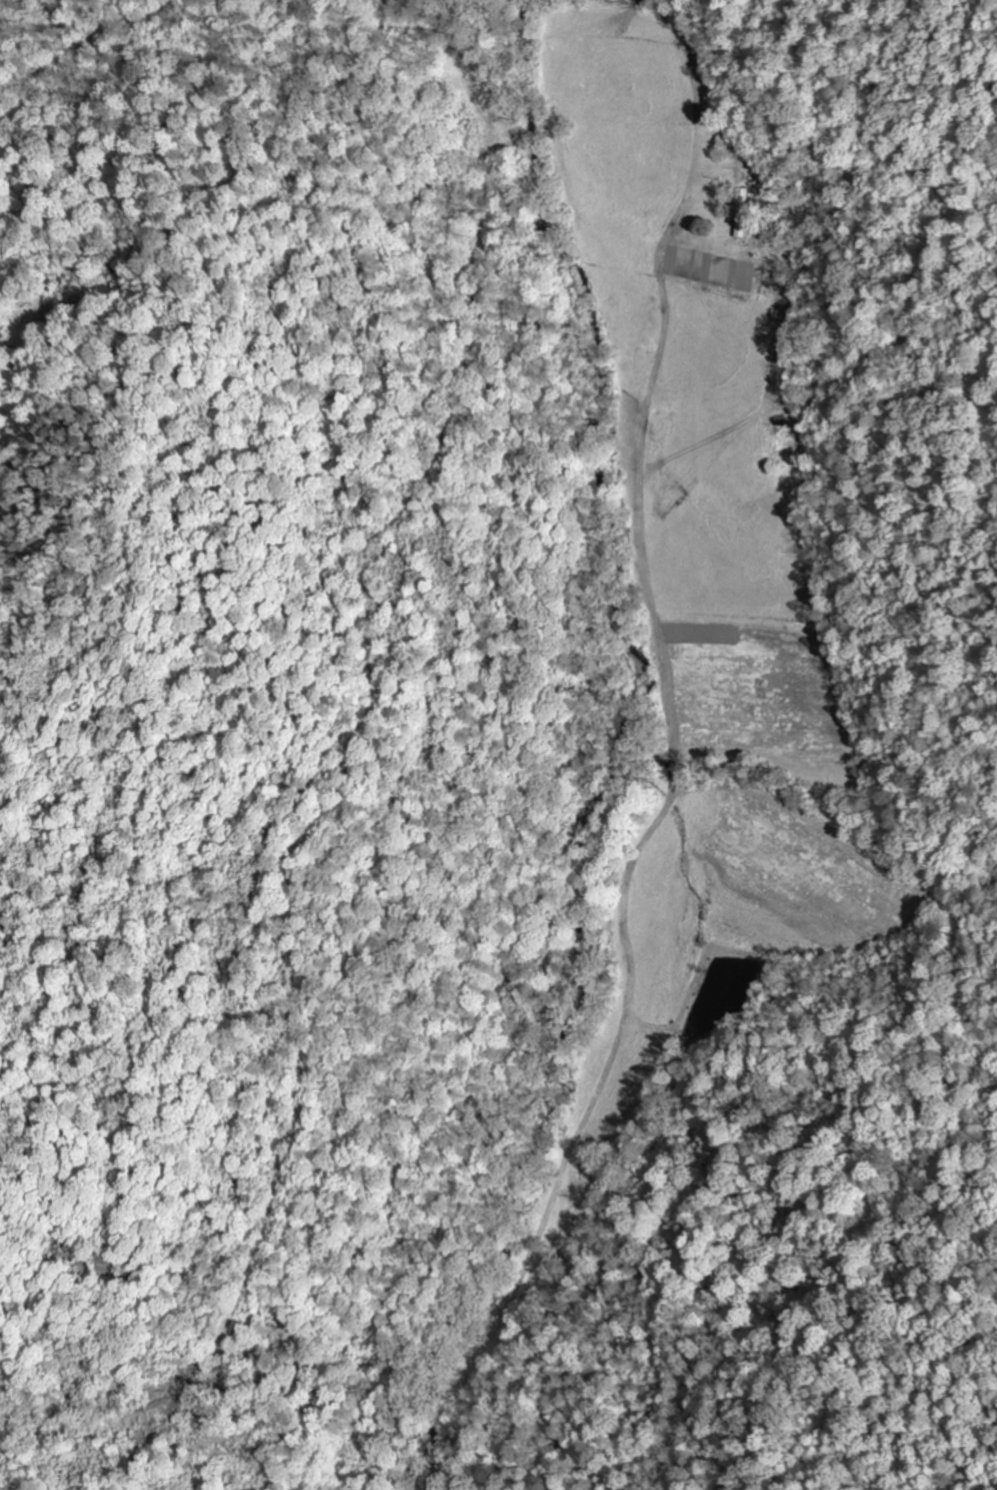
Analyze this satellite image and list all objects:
road: (706, 88)

